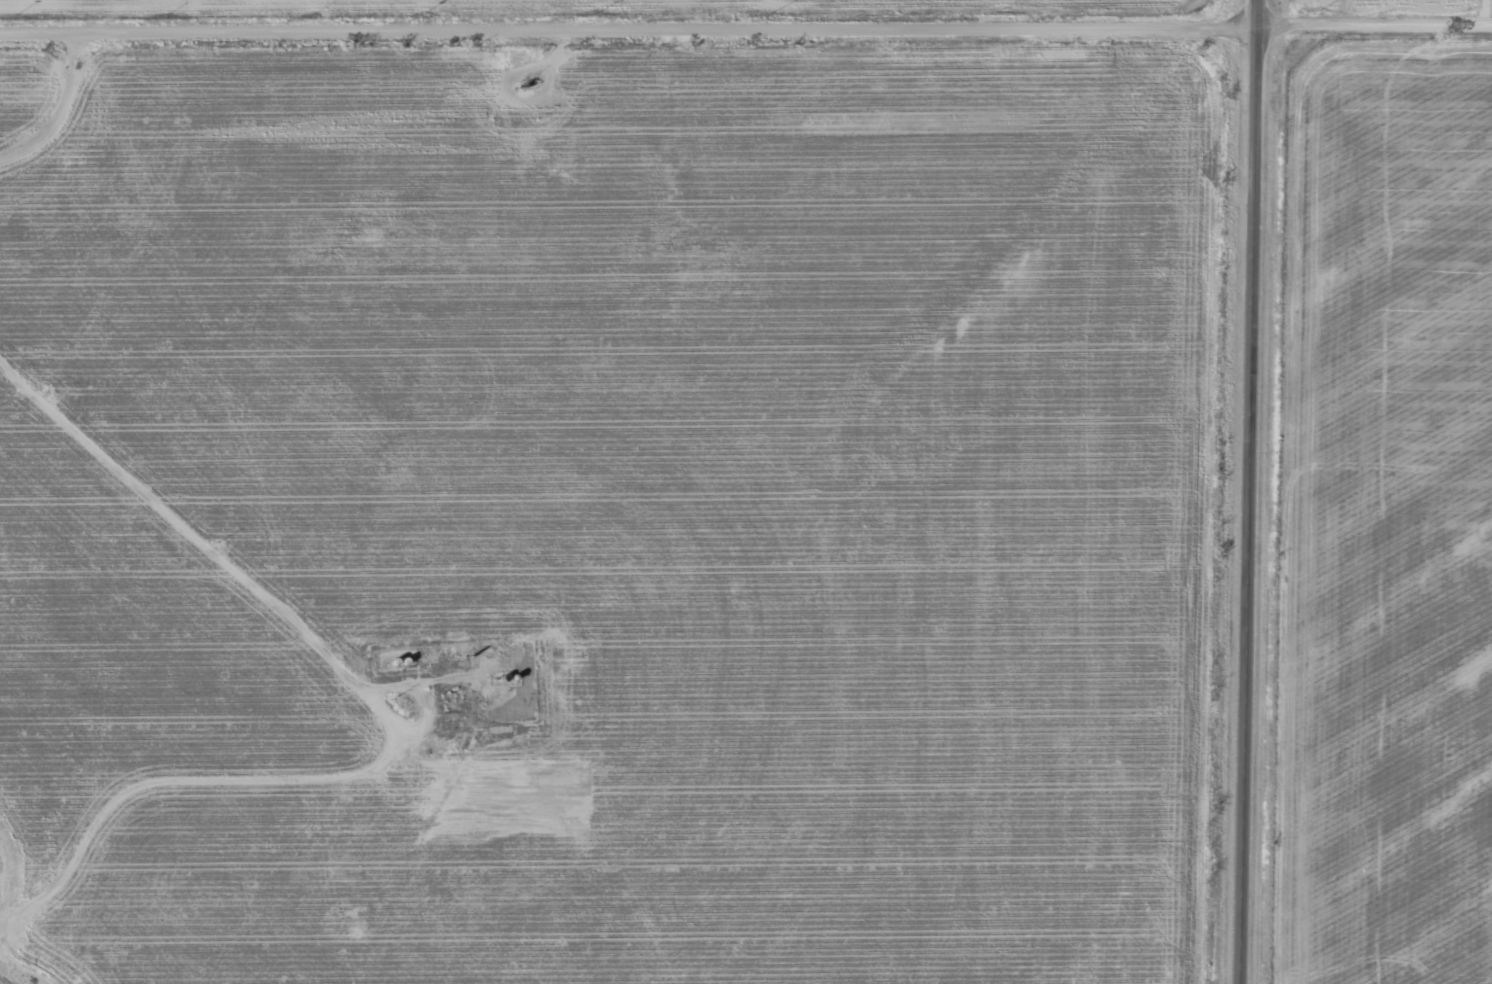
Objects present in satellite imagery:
road: (746, 22)
road: (54, 98)
road: (1250, 492)
road: (370, 687)

